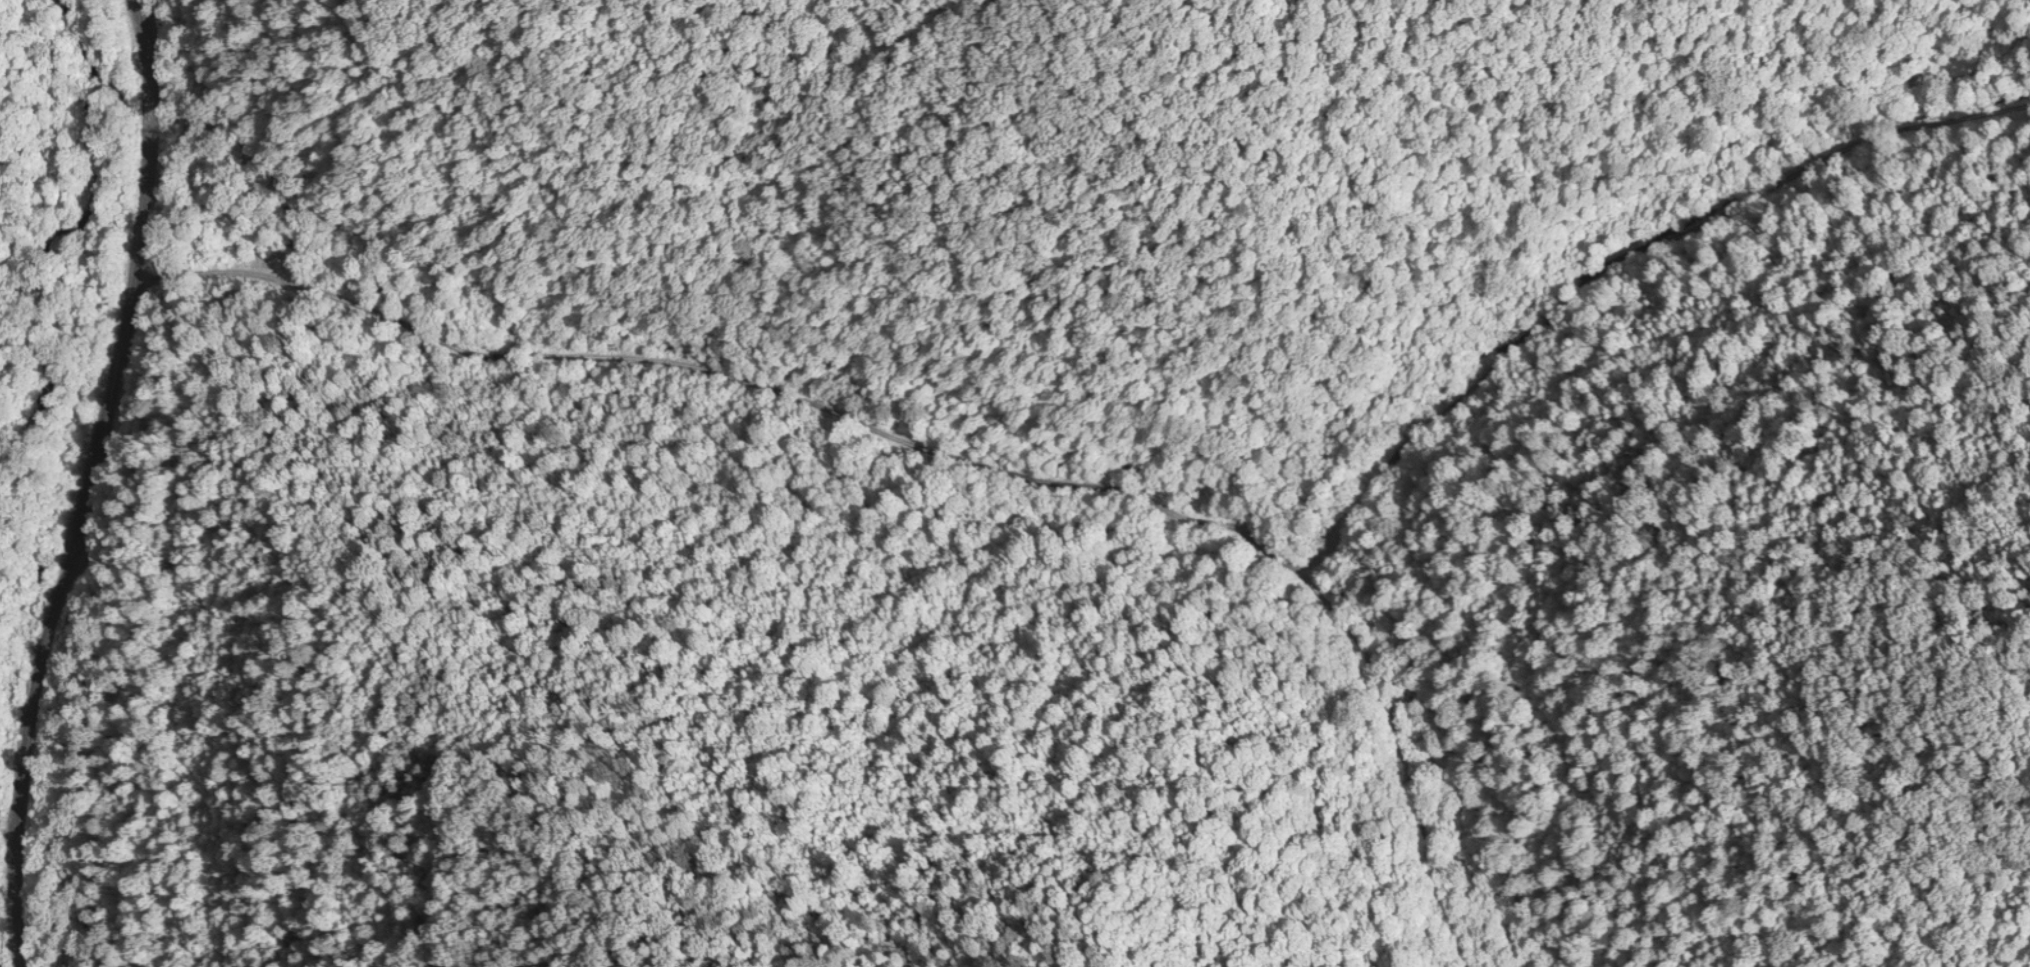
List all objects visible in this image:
road: (94, 485)
quarry: (229, 485)

